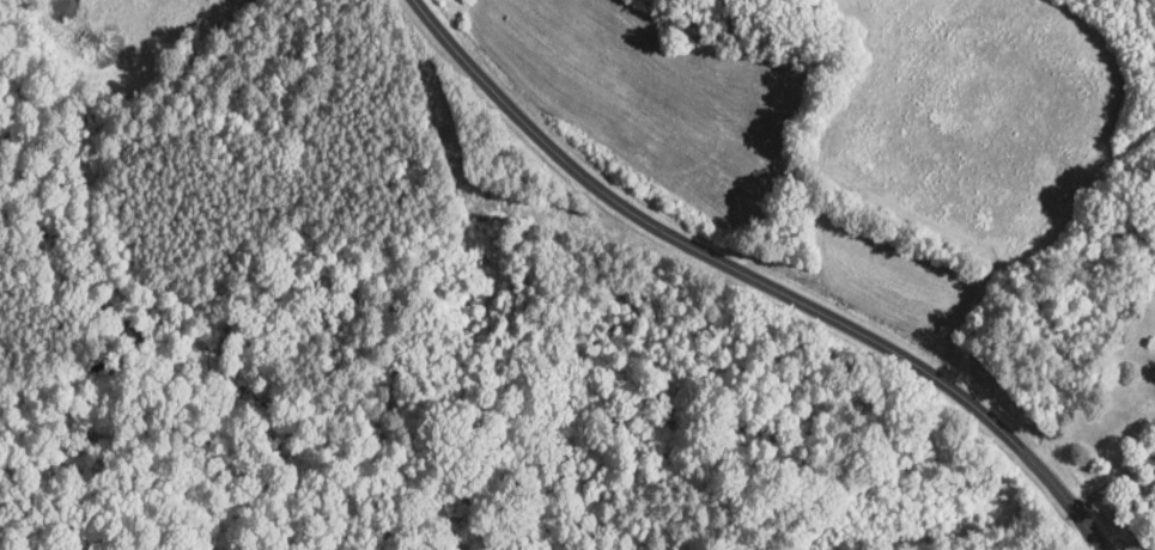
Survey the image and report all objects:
road: (754, 277)
road: (1113, 482)

